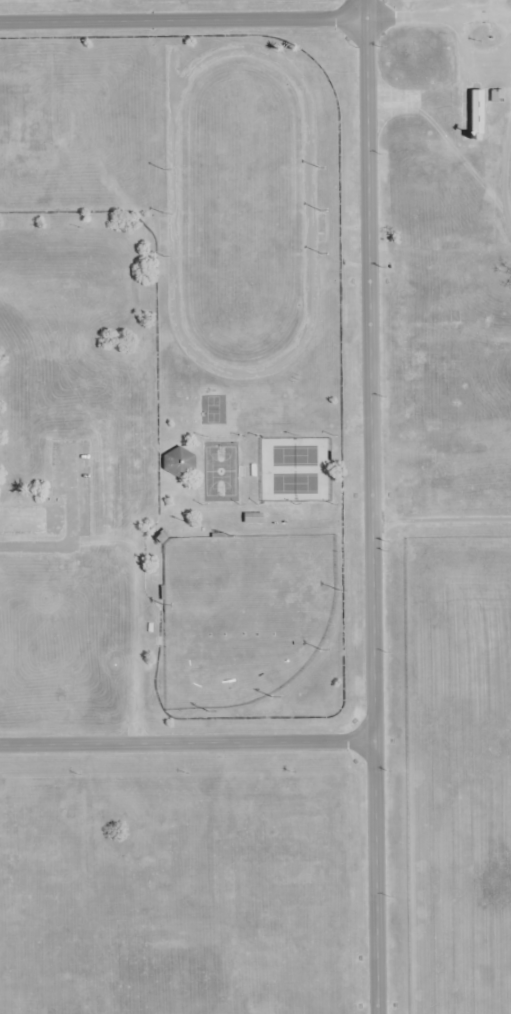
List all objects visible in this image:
road: (255, 20)
building: (474, 114)
building: (177, 463)
building: (107, 477)
road: (371, 507)
building: (250, 520)
road: (187, 742)

